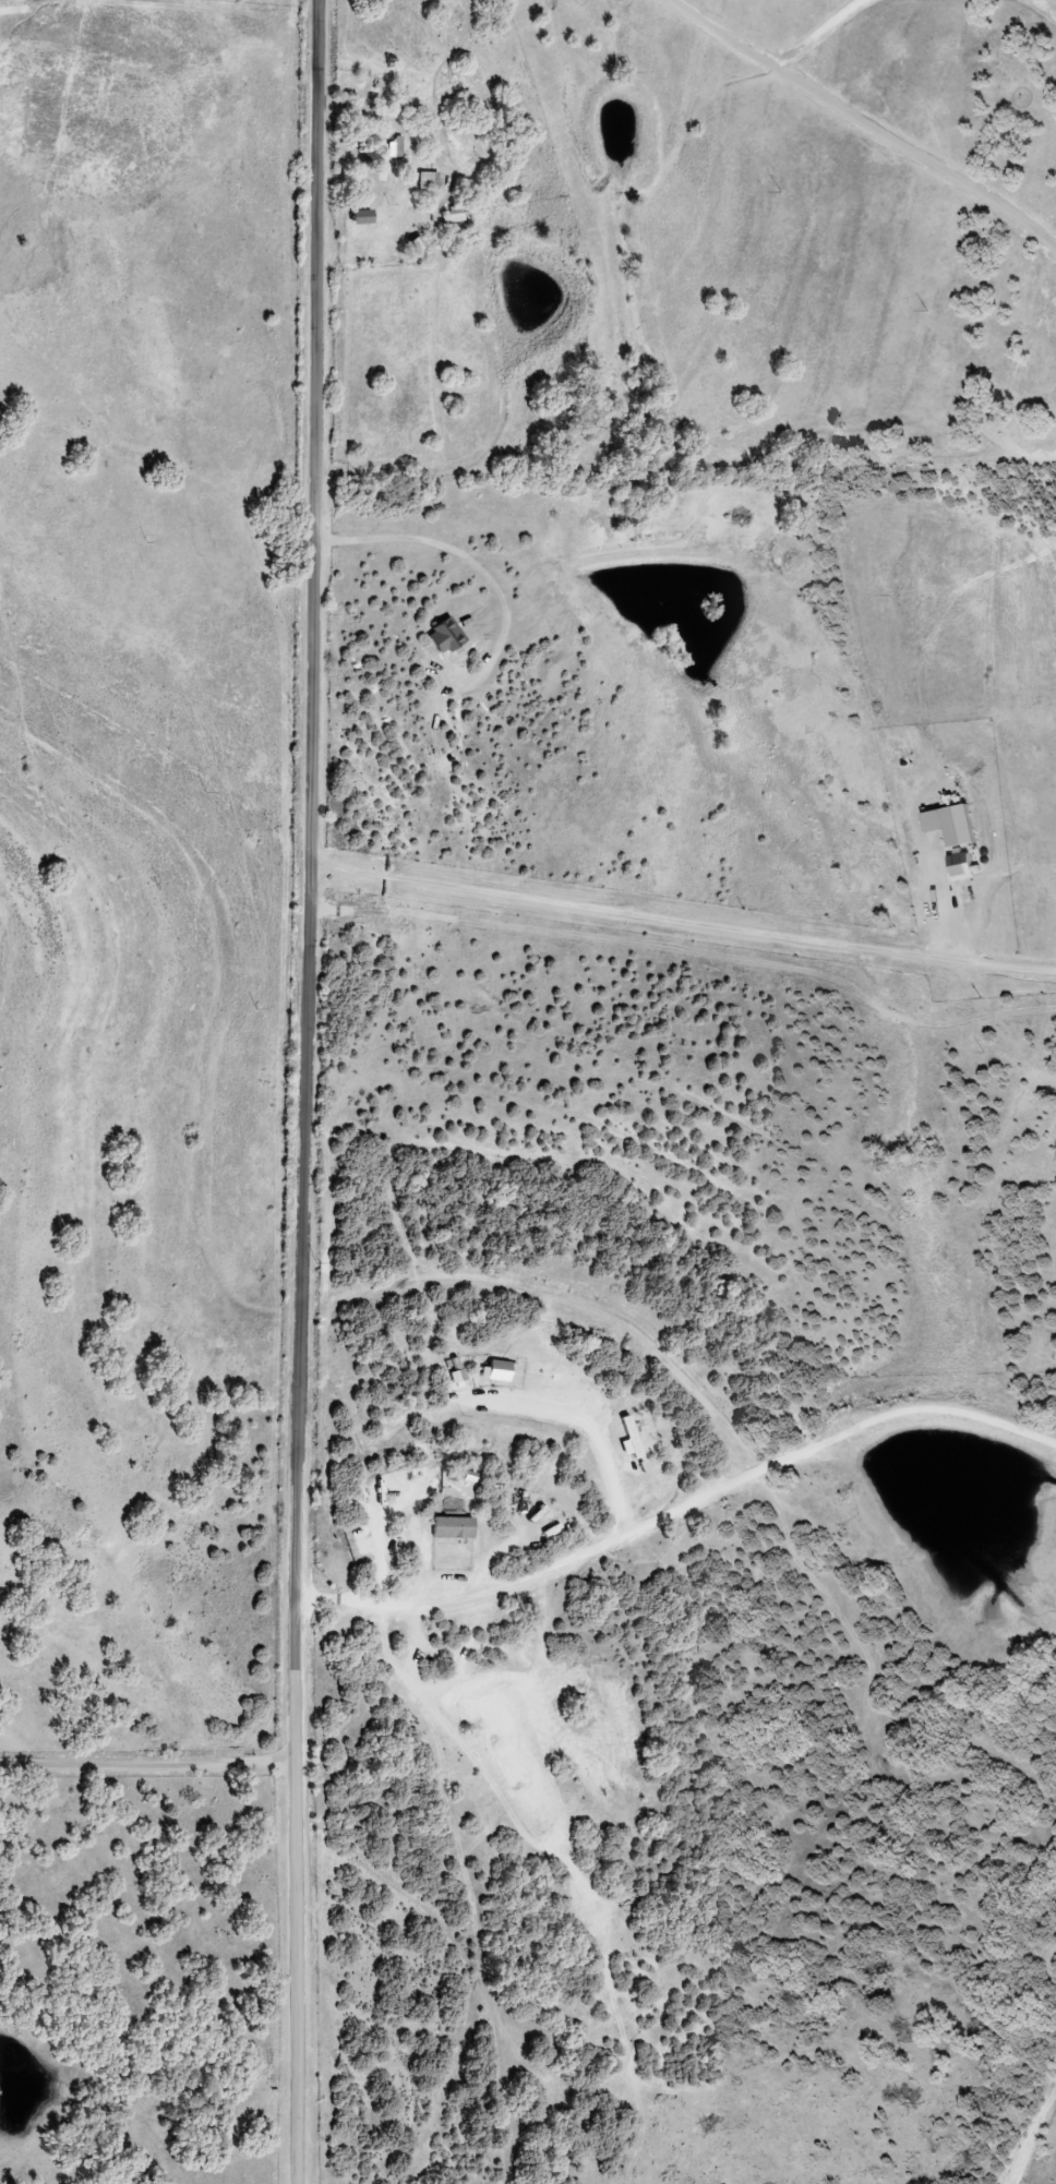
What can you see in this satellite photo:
road: (880, 110)
building: (379, 155)
building: (421, 181)
building: (446, 219)
road: (941, 901)
road: (681, 924)
road: (303, 1091)
road: (584, 1421)
road: (677, 1510)
road: (146, 1767)

